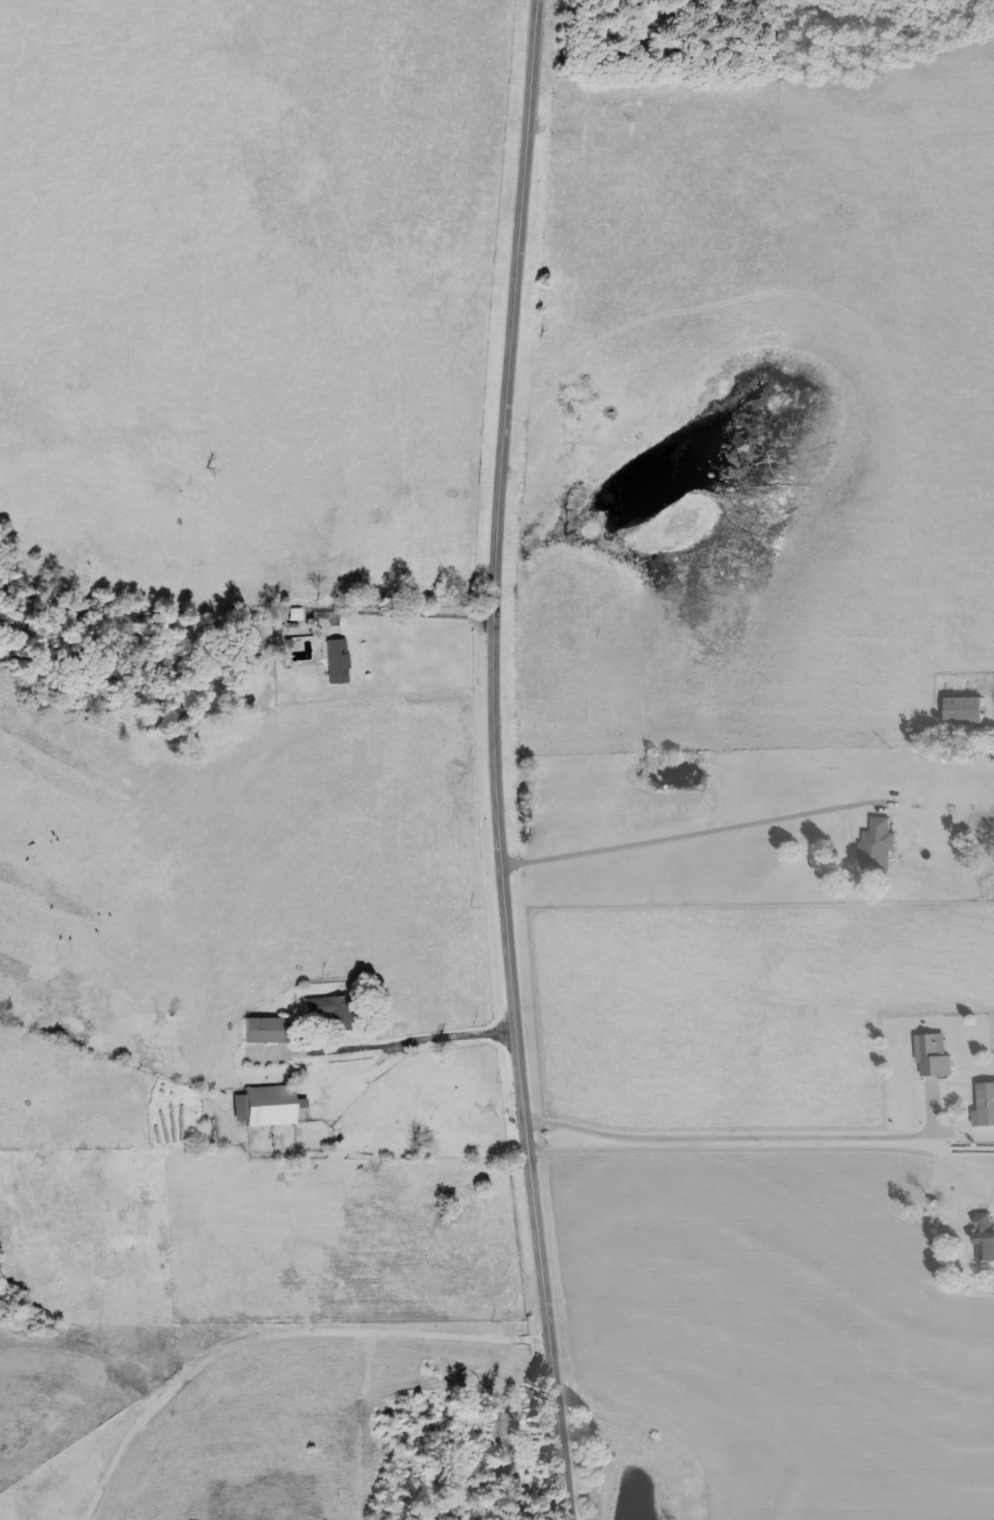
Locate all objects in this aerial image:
building: (336, 659)
building: (971, 710)
road: (504, 761)
road: (682, 842)
building: (886, 848)
building: (332, 1011)
building: (266, 1030)
building: (937, 1054)
building: (267, 1106)
building: (987, 1106)
building: (987, 1236)

